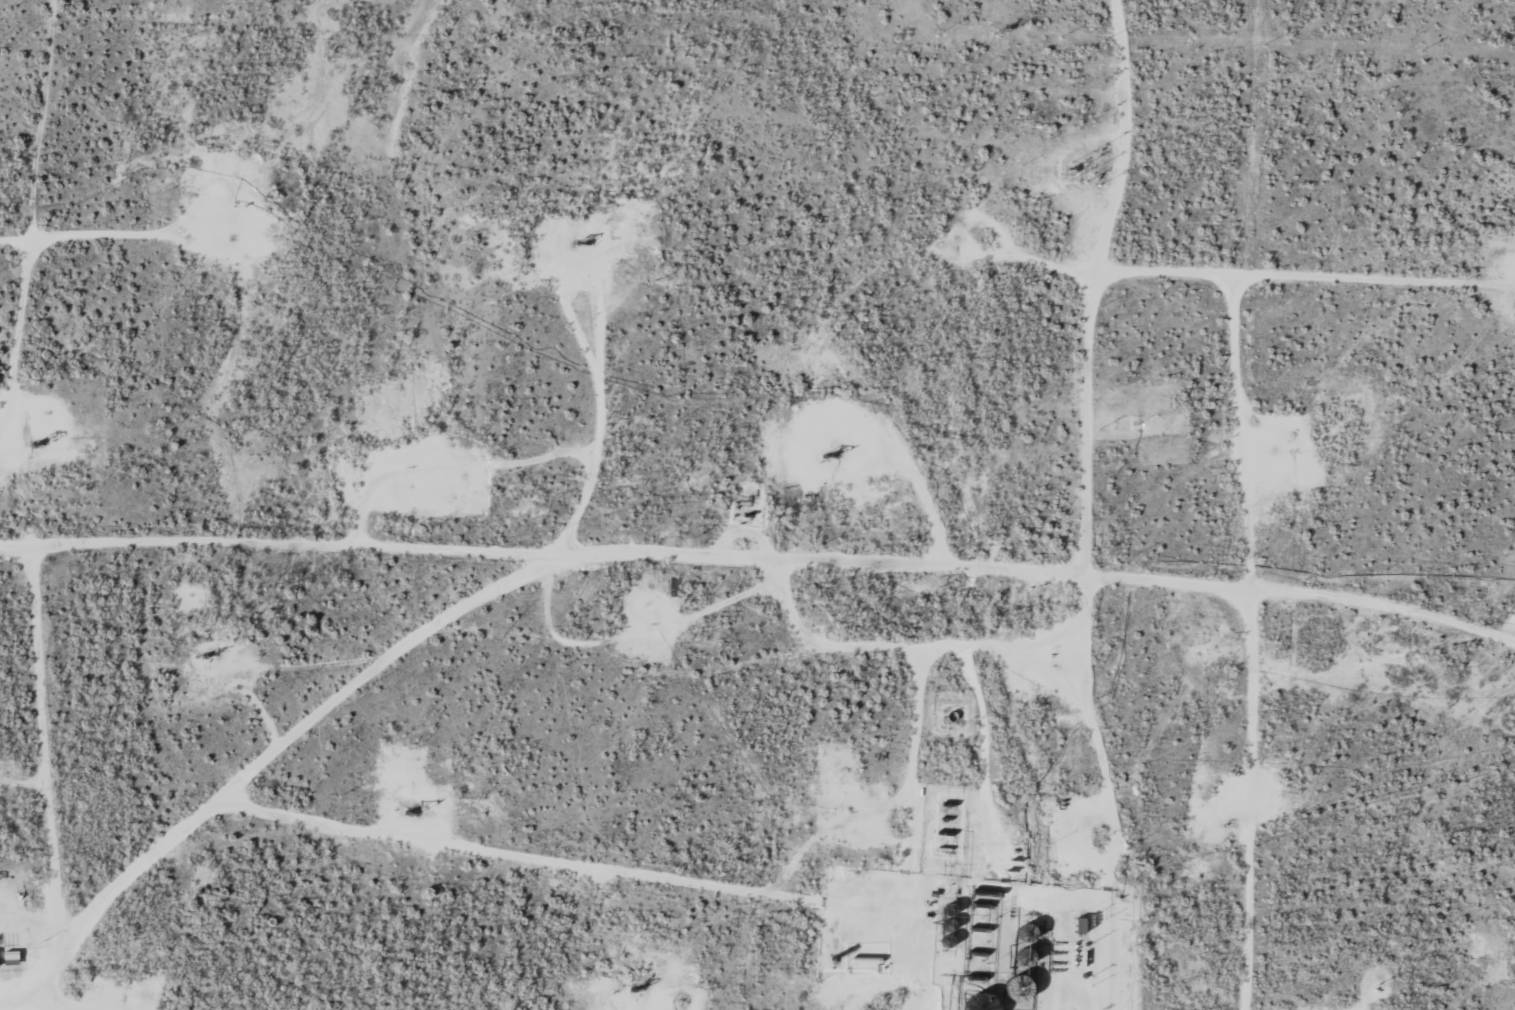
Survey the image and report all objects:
road: (14, 460)
road: (243, 563)
road: (693, 578)
road: (692, 802)
road: (1128, 913)
road: (1111, 983)
building: (1022, 994)

